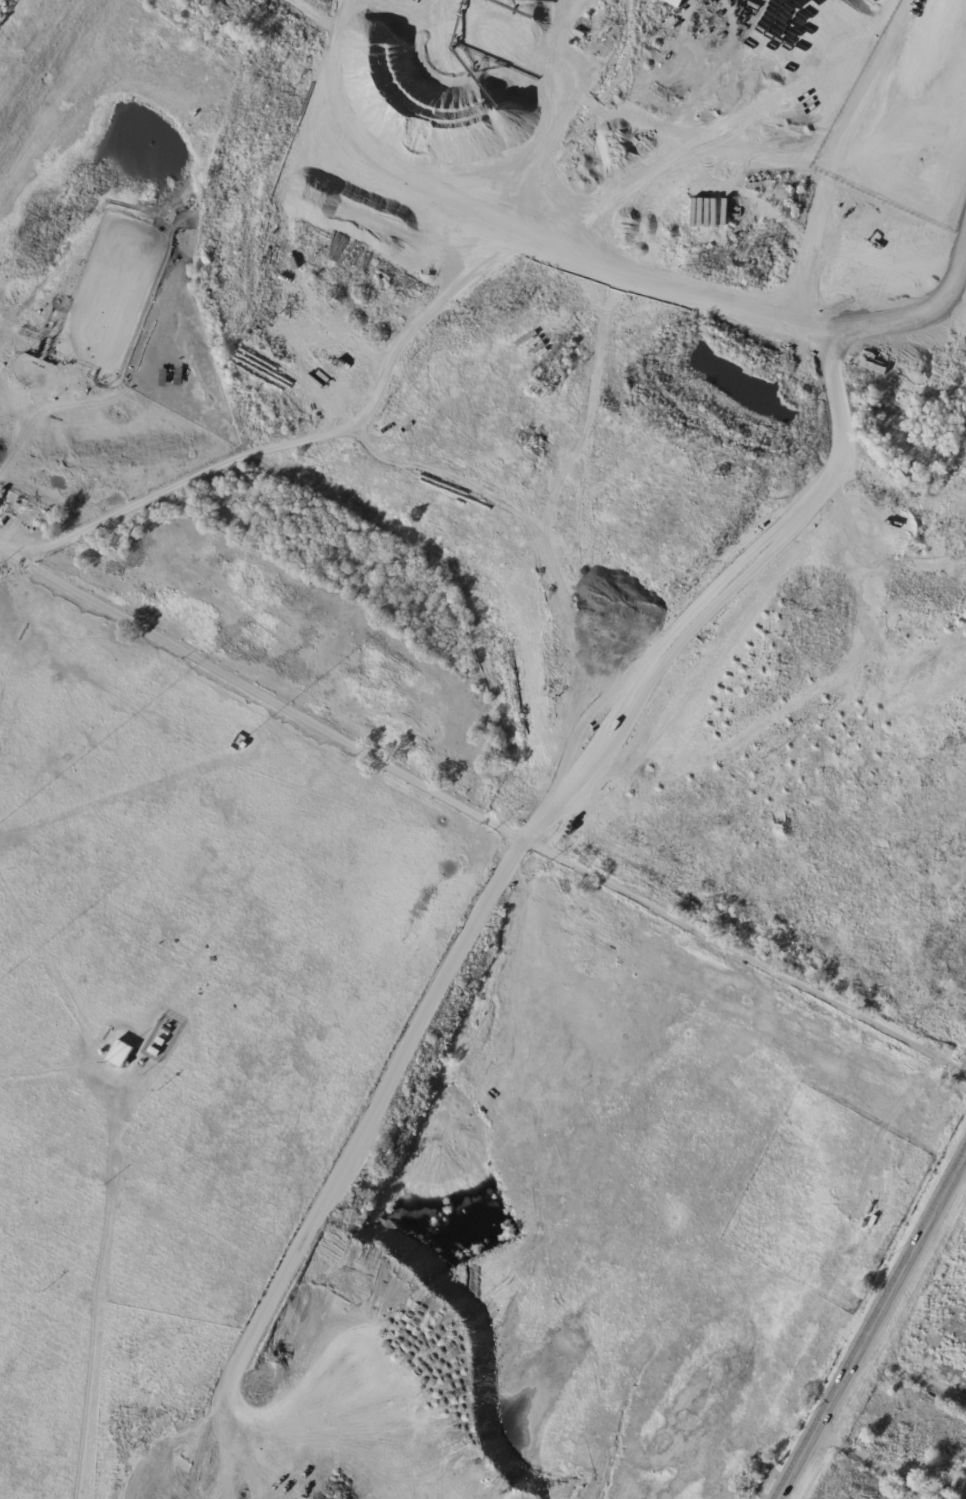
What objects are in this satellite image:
building: (675, 2)
building: (245, 746)
road: (483, 805)
building: (171, 1025)
building: (166, 1029)
building: (162, 1040)
building: (156, 1051)
building: (120, 1054)
road: (348, 1165)
road: (875, 1324)
building: (755, 1477)

